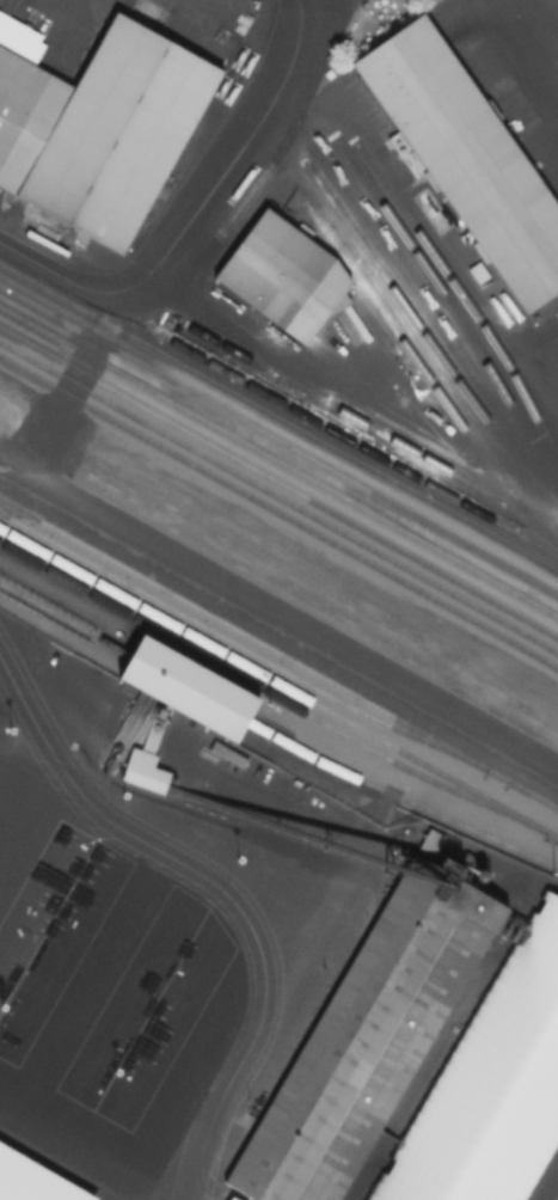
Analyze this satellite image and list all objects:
road: (318, 12)
road: (511, 59)
building: (102, 129)
building: (468, 158)
road: (192, 210)
building: (289, 286)
railway: (461, 298)
railway: (449, 305)
railway: (421, 336)
railway: (422, 372)
road: (347, 393)
railway: (208, 402)
railway: (277, 420)
railway: (370, 428)
railway: (278, 463)
railway: (278, 483)
railway: (447, 495)
railway: (278, 496)
railway: (280, 512)
railway: (488, 556)
railway: (63, 618)
railway: (280, 633)
railway: (233, 642)
railway: (278, 653)
railway: (278, 681)
building: (185, 686)
railway: (186, 686)
railway: (276, 696)
railway: (399, 796)
road: (222, 893)
building: (367, 1041)
building: (491, 1086)
building: (30, 1182)

